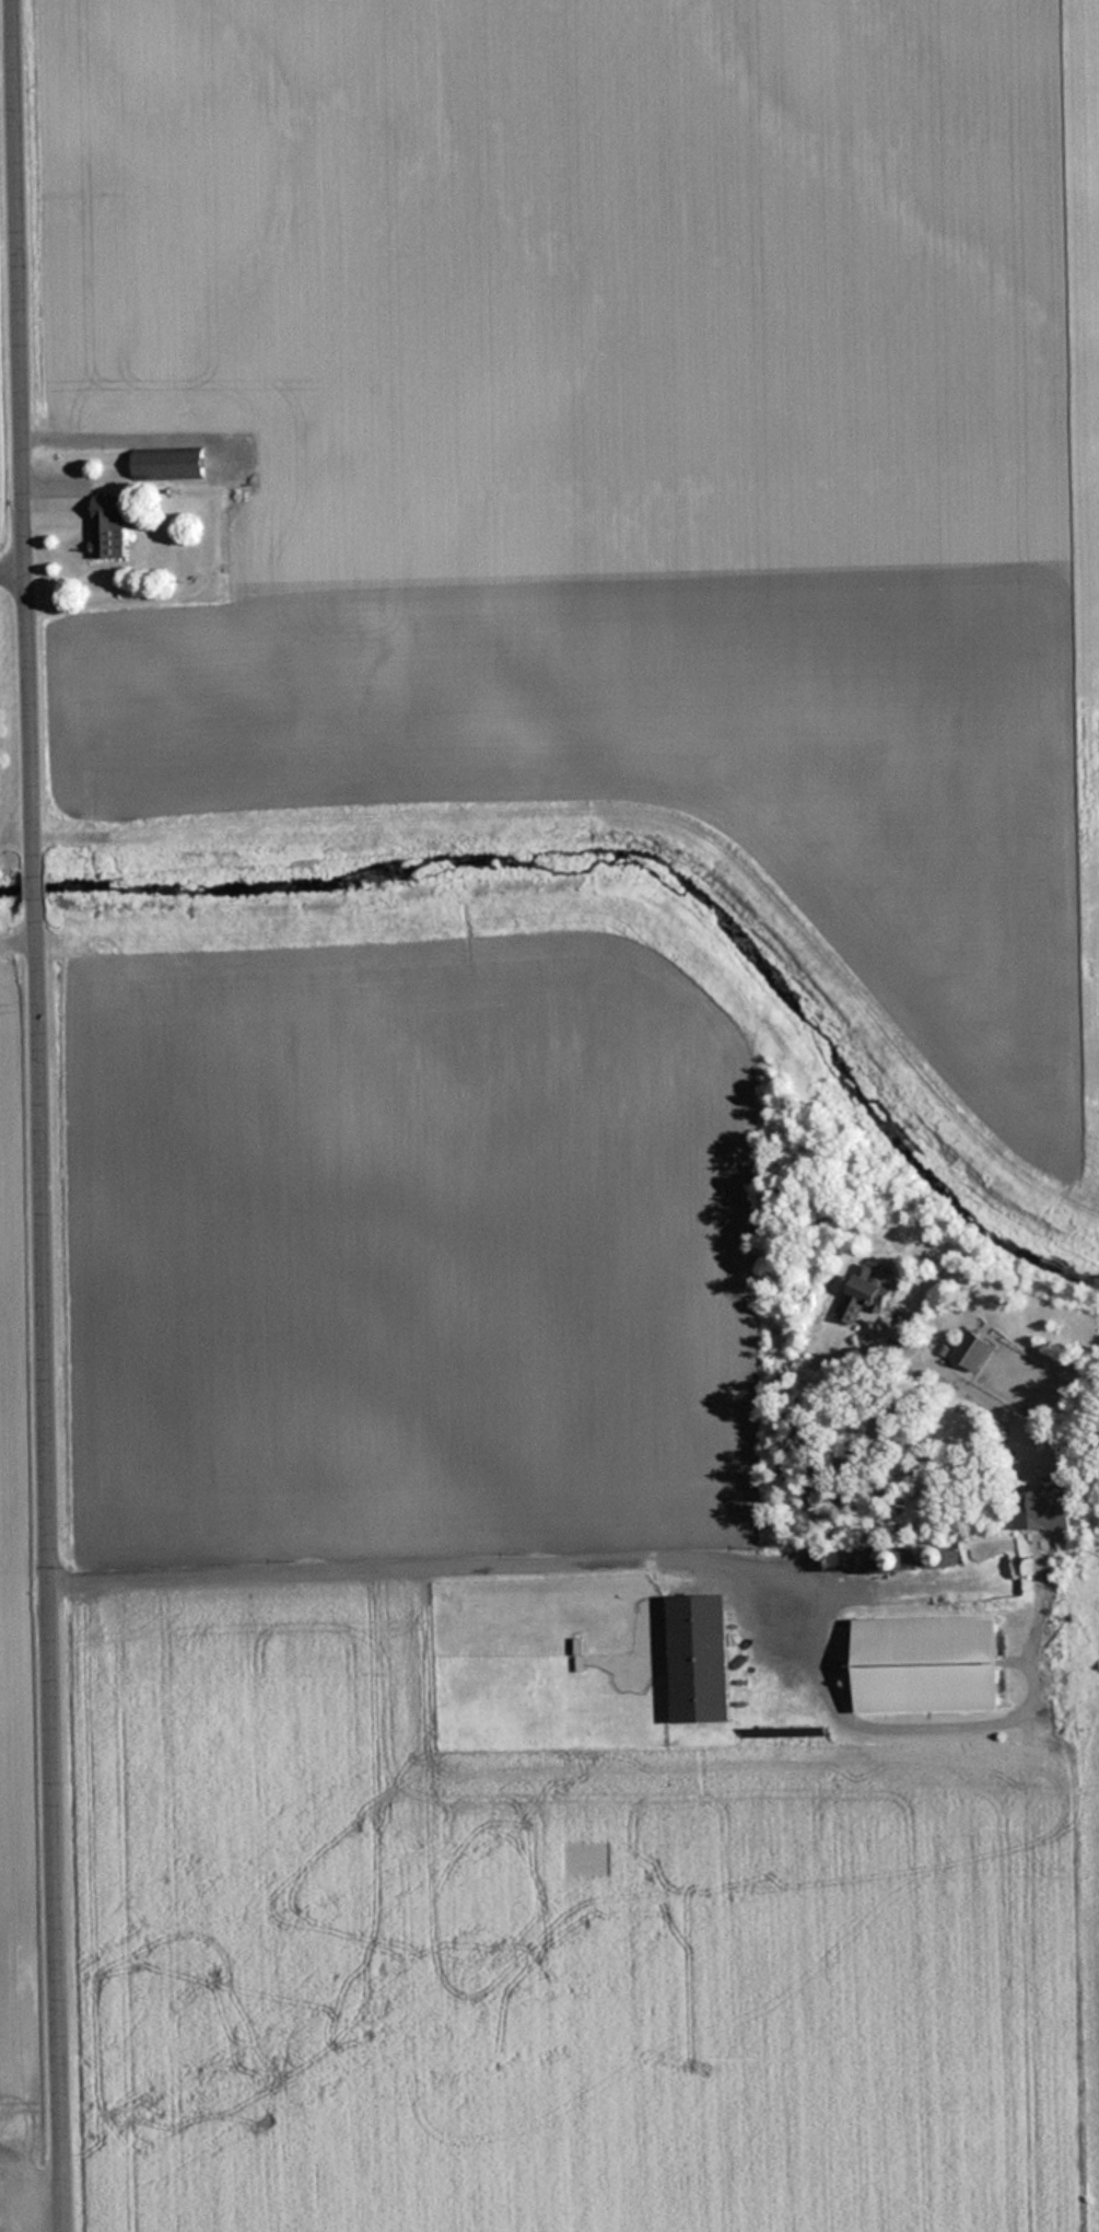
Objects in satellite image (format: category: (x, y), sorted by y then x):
building: (168, 465)
building: (109, 531)
building: (241, 532)
road: (15, 569)
road: (46, 1115)
building: (867, 1294)
building: (978, 1350)
building: (1036, 1510)
building: (702, 1659)
building: (930, 1665)

